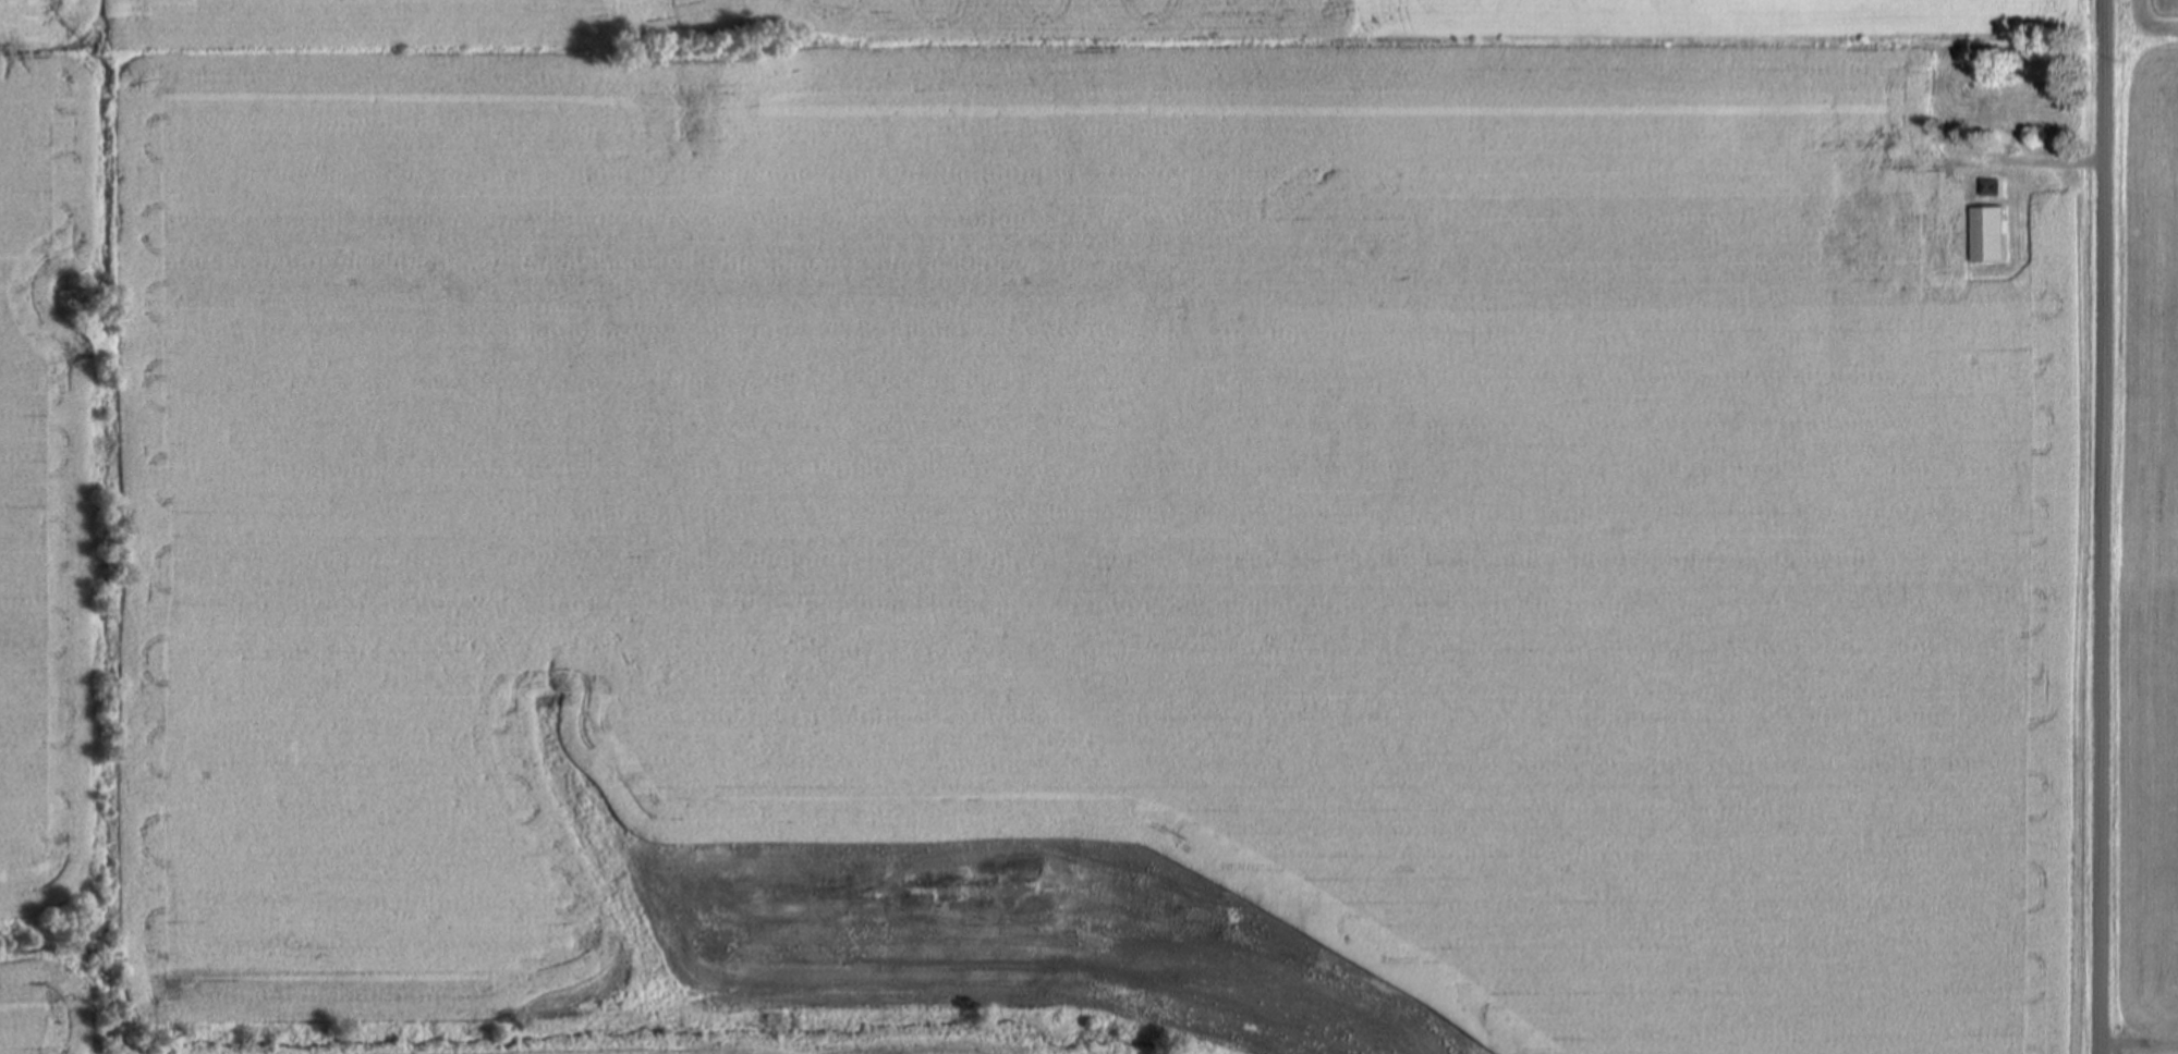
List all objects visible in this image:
road: (2024, 161)
building: (1988, 187)
building: (1988, 233)
road: (2100, 527)
road: (2138, 1044)

